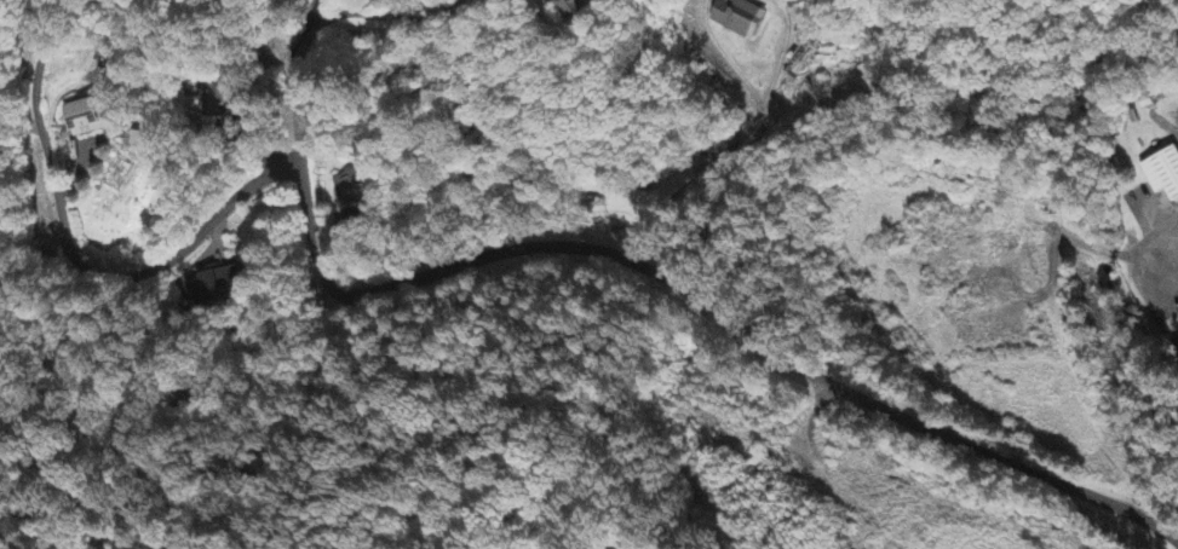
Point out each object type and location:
building: (573, 7)
road: (327, 16)
building: (739, 18)
building: (88, 117)
building: (1165, 174)
road: (693, 177)
building: (351, 190)
road: (585, 245)
road: (74, 260)
road: (811, 415)
road: (1053, 481)

